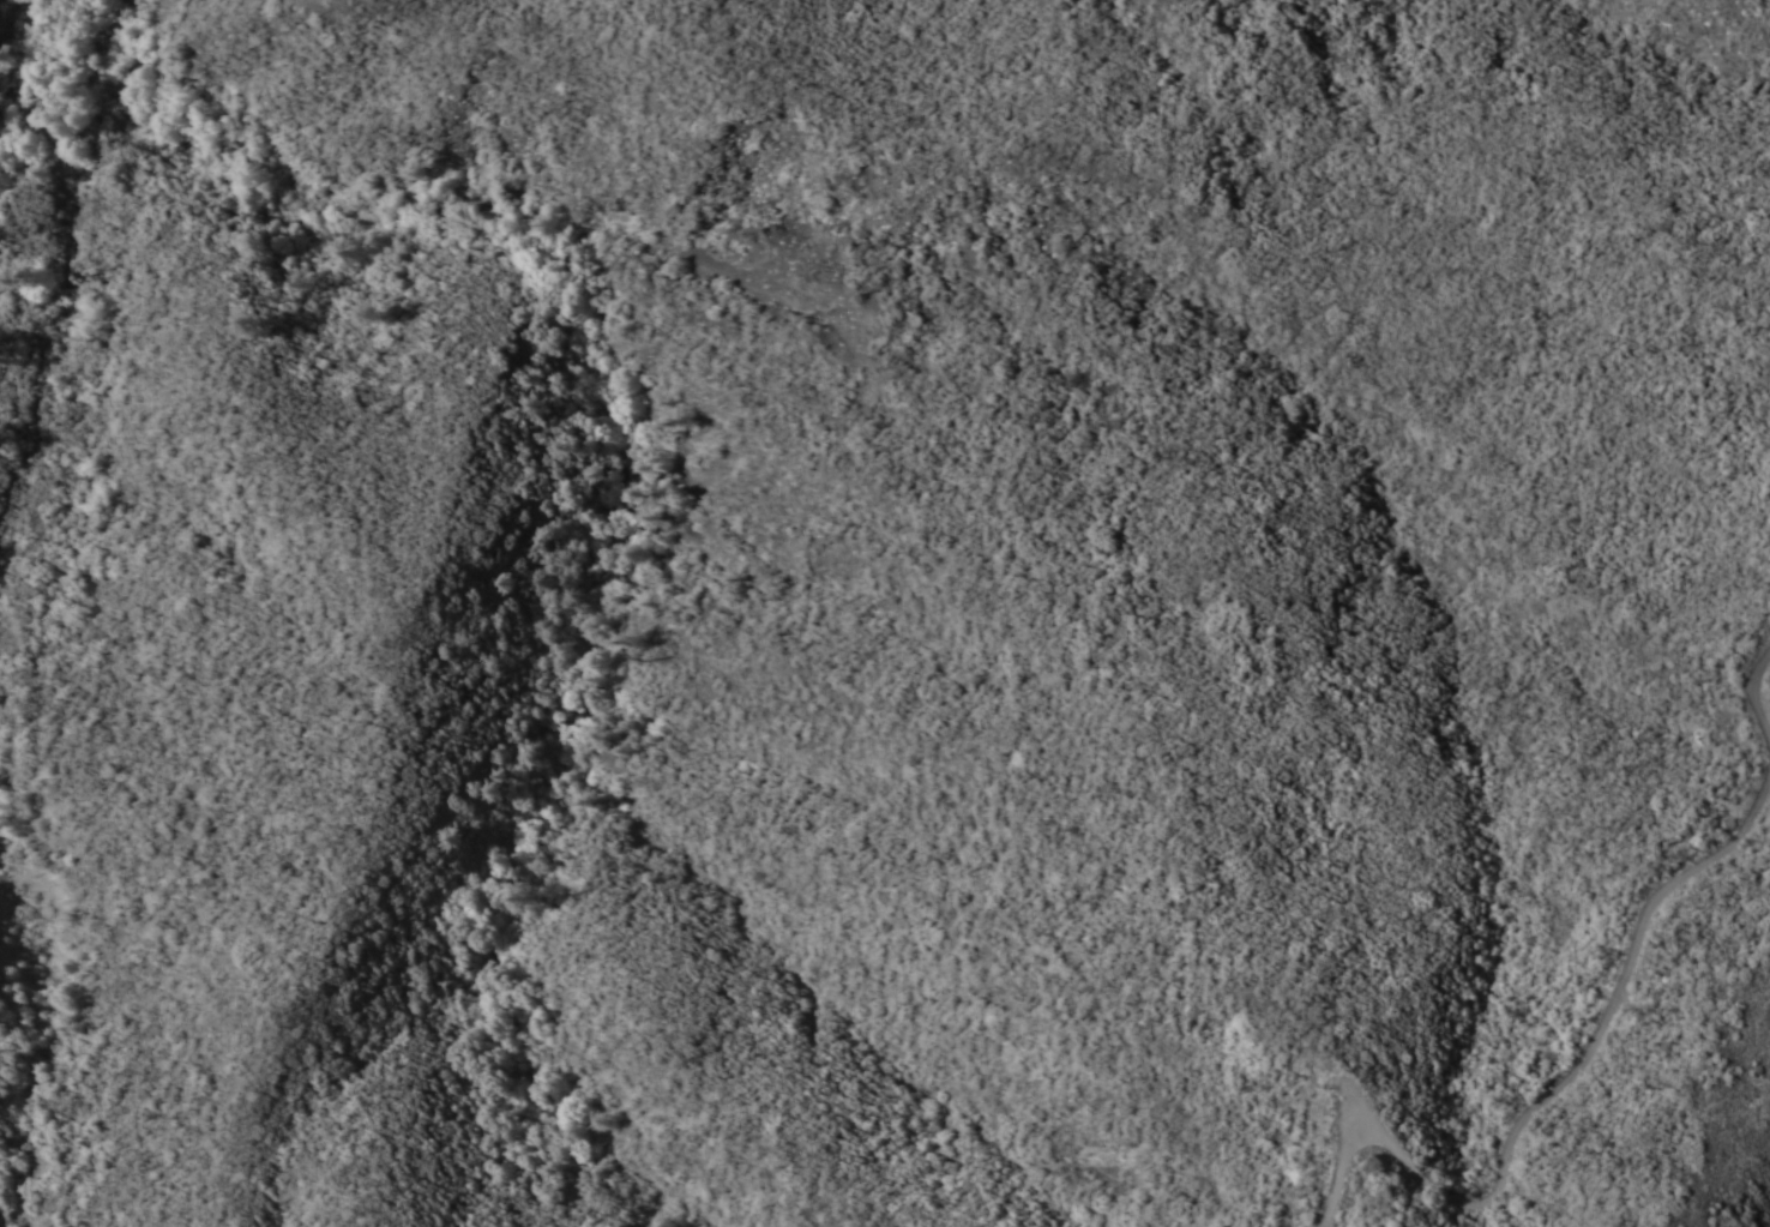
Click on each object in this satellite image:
road: (1757, 697)
road: (1563, 1082)

